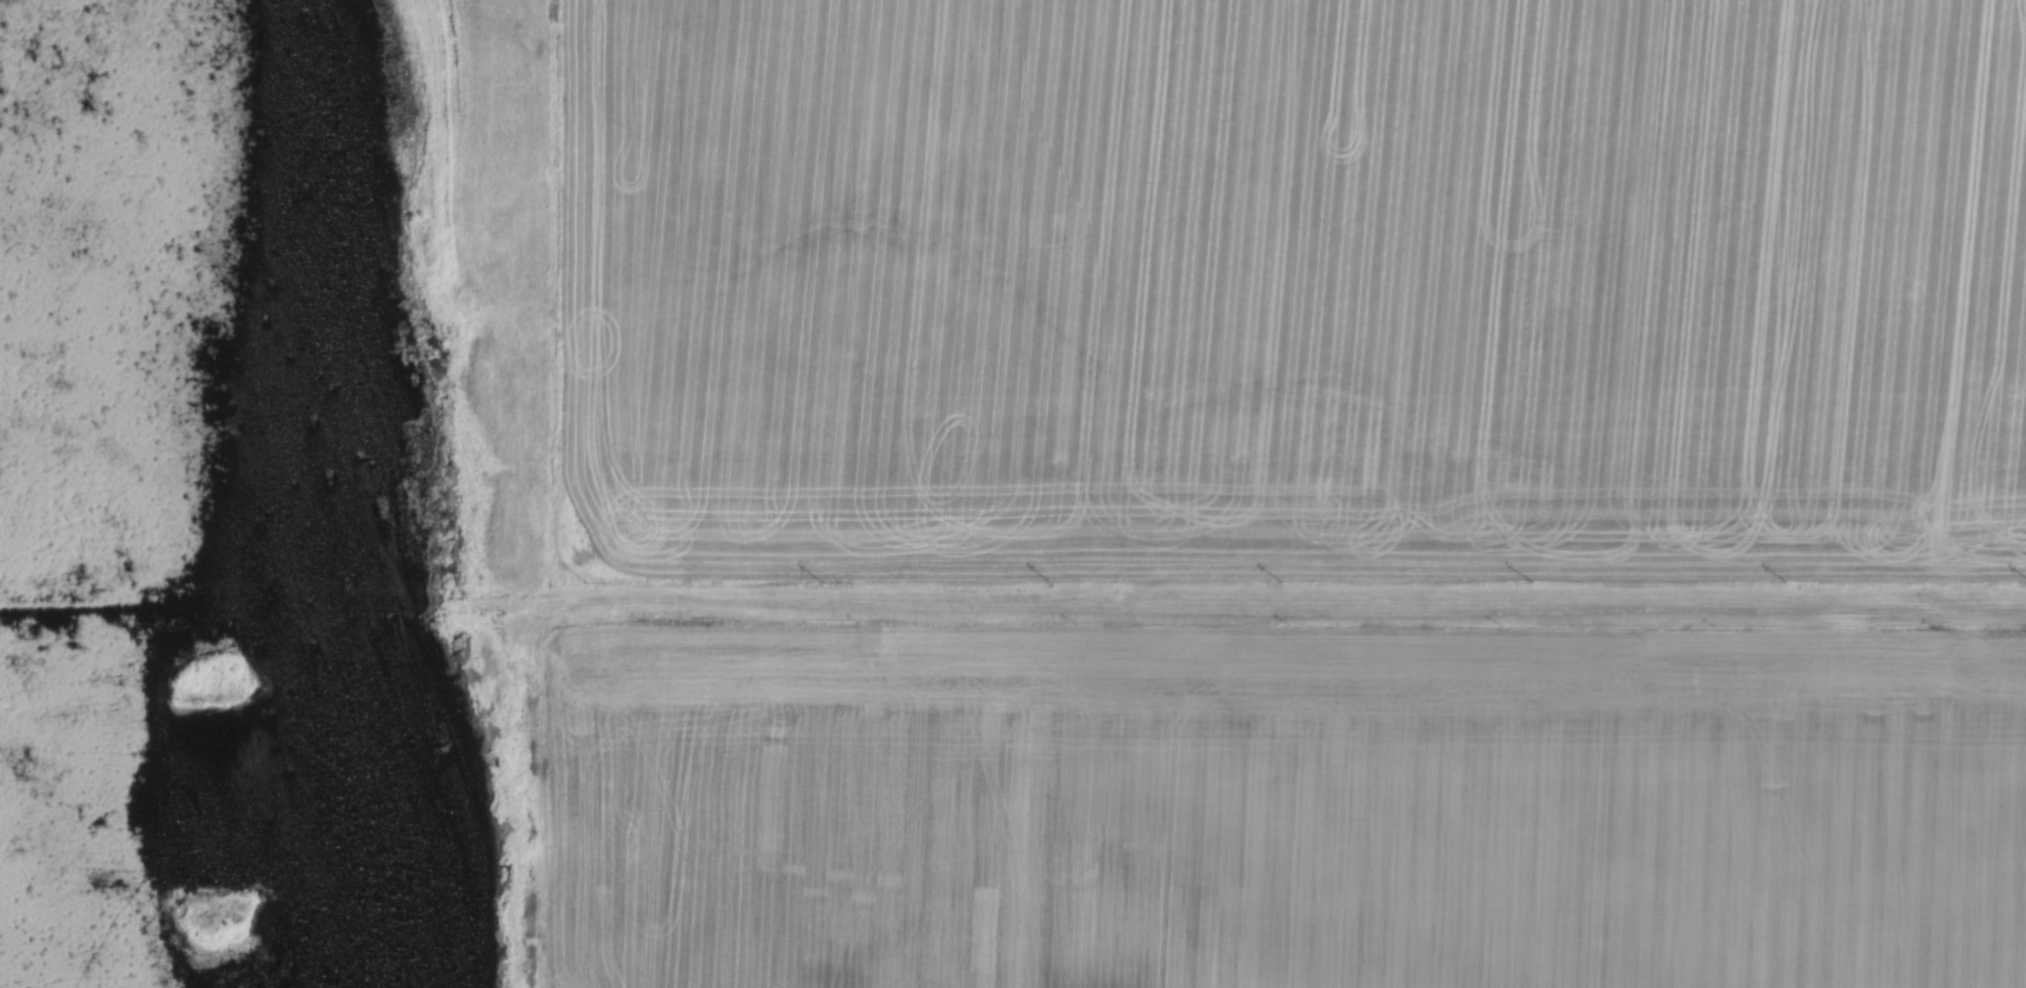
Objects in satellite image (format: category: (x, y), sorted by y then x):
crop: (1296, 284)

